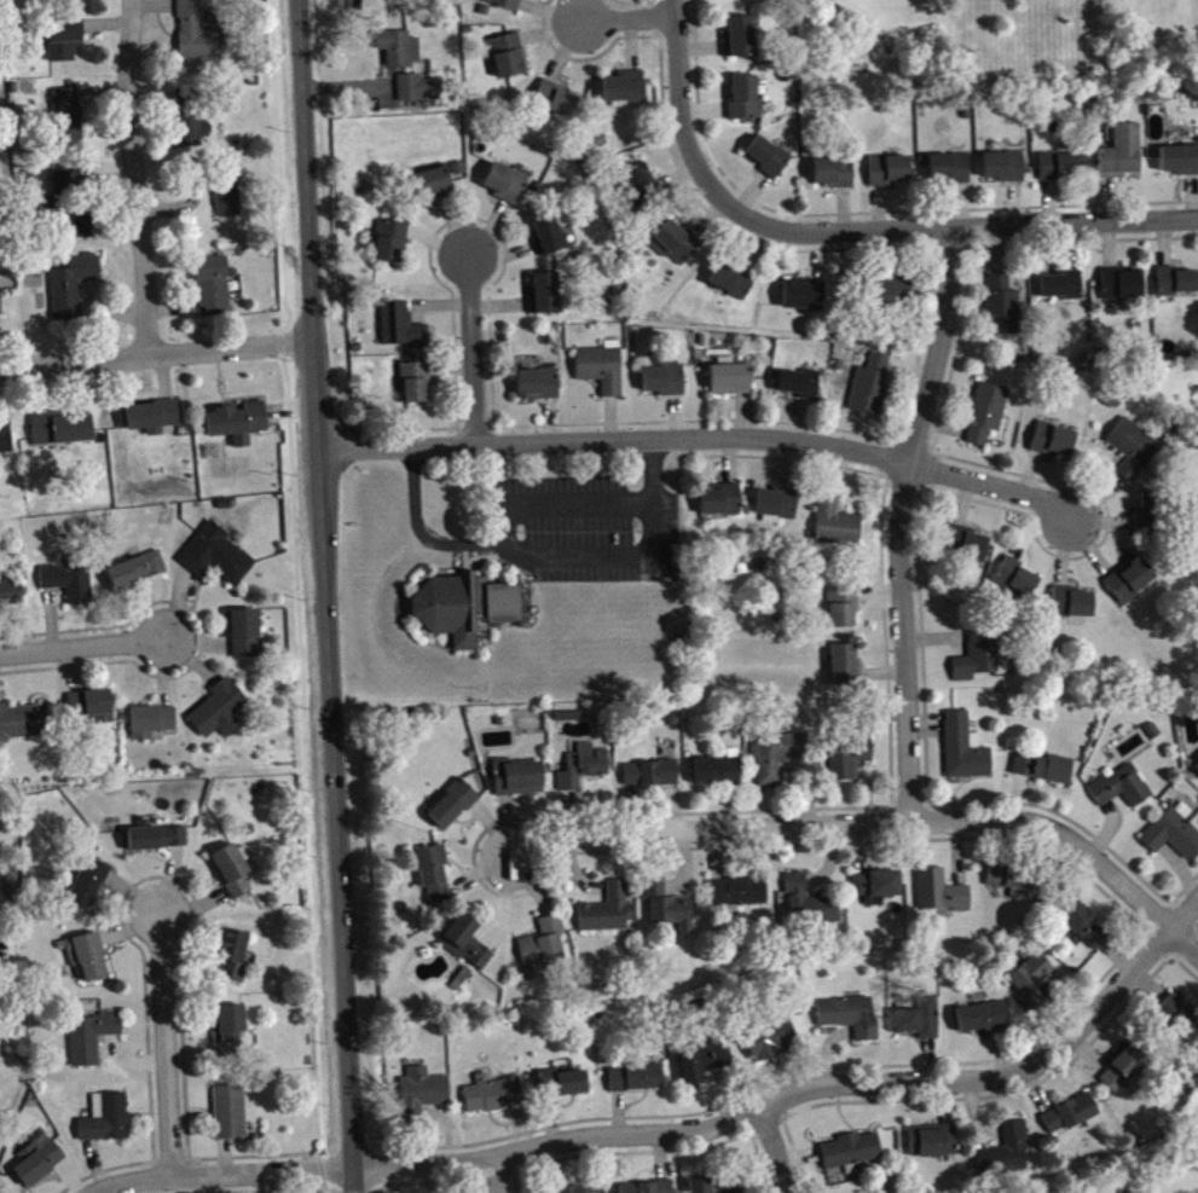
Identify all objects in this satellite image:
building: (725, 0)
building: (388, 1)
building: (505, 6)
road: (627, 16)
building: (195, 31)
building: (60, 35)
building: (740, 42)
building: (400, 53)
building: (509, 60)
building: (626, 92)
building: (421, 93)
road: (677, 100)
building: (746, 103)
building: (556, 104)
building: (64, 118)
building: (189, 127)
building: (1121, 156)
building: (768, 161)
building: (1180, 164)
building: (1006, 172)
building: (1064, 172)
building: (950, 173)
building: (890, 175)
road: (133, 176)
building: (834, 178)
building: (639, 187)
building: (508, 189)
building: (224, 190)
building: (434, 190)
building: (70, 199)
road: (949, 226)
building: (548, 238)
building: (392, 247)
building: (677, 248)
building: (70, 284)
building: (210, 284)
building: (733, 284)
building: (1177, 286)
building: (1123, 289)
building: (1063, 291)
building: (892, 296)
building: (545, 299)
building: (804, 300)
building: (1, 309)
building: (1003, 312)
building: (404, 331)
road: (468, 348)
road: (152, 353)
building: (603, 372)
building: (731, 383)
building: (665, 384)
building: (416, 388)
building: (798, 388)
building: (539, 389)
building: (872, 392)
building: (150, 412)
building: (988, 417)
building: (235, 419)
building: (58, 425)
building: (4, 434)
road: (699, 436)
building: (1054, 445)
building: (1134, 453)
road: (559, 503)
building: (722, 505)
building: (777, 508)
building: (1150, 517)
road: (898, 521)
parking lot: (585, 527)
building: (837, 529)
building: (968, 549)
building: (213, 554)
road: (546, 554)
building: (133, 568)
building: (65, 580)
building: (1132, 585)
building: (1013, 587)
building: (8, 589)
road: (323, 596)
building: (464, 606)
building: (1073, 608)
building: (844, 612)
building: (242, 631)
road: (203, 637)
road: (83, 645)
building: (979, 662)
building: (845, 670)
building: (89, 702)
building: (216, 707)
building: (22, 718)
building: (147, 718)
building: (966, 753)
building: (780, 760)
building: (851, 766)
building: (584, 772)
building: (1197, 772)
building: (1044, 774)
building: (718, 776)
building: (652, 778)
building: (519, 782)
building: (1123, 792)
building: (453, 810)
road: (874, 823)
building: (154, 835)
building: (1175, 836)
building: (231, 867)
building: (435, 878)
building: (85, 882)
building: (1013, 886)
building: (878, 892)
building: (739, 897)
building: (942, 897)
road: (121, 903)
building: (809, 908)
building: (670, 911)
building: (609, 915)
road: (1186, 917)
building: (1086, 930)
building: (468, 948)
building: (231, 951)
building: (83, 952)
building: (544, 955)
building: (1034, 984)
building: (851, 1021)
building: (983, 1023)
building: (921, 1024)
building: (1180, 1025)
building: (225, 1027)
building: (88, 1033)
building: (774, 1046)
road: (168, 1049)
building: (706, 1065)
building: (1127, 1075)
building: (637, 1083)
building: (566, 1089)
building: (423, 1099)
building: (494, 1099)
building: (226, 1110)
building: (103, 1116)
building: (1073, 1120)
road: (669, 1133)
building: (933, 1146)
road: (774, 1152)
road: (256, 1154)
building: (853, 1156)
building: (1008, 1156)
building: (36, 1158)
road: (490, 1176)
building: (702, 1188)
building: (649, 1189)
road: (248, 1191)
building: (0, 1192)
building: (581, 1192)
building: (740, 1192)

